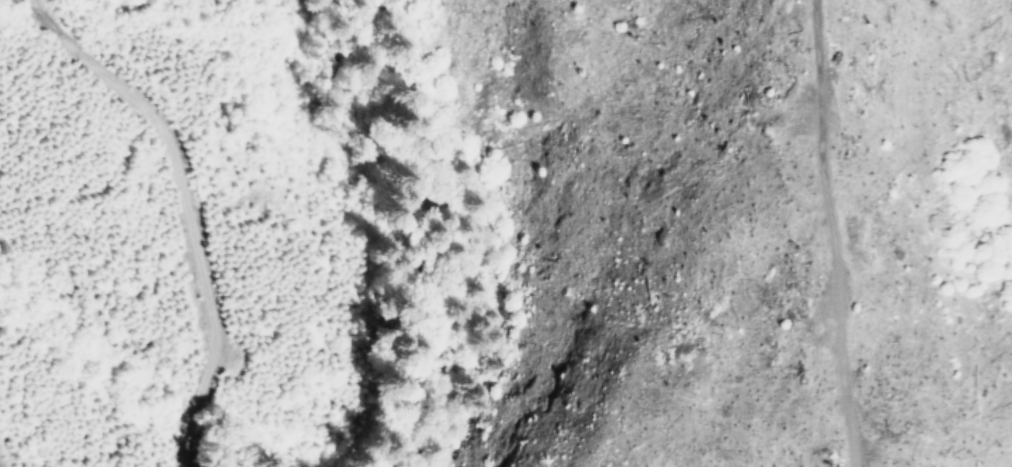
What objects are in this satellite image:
road: (4, 450)

